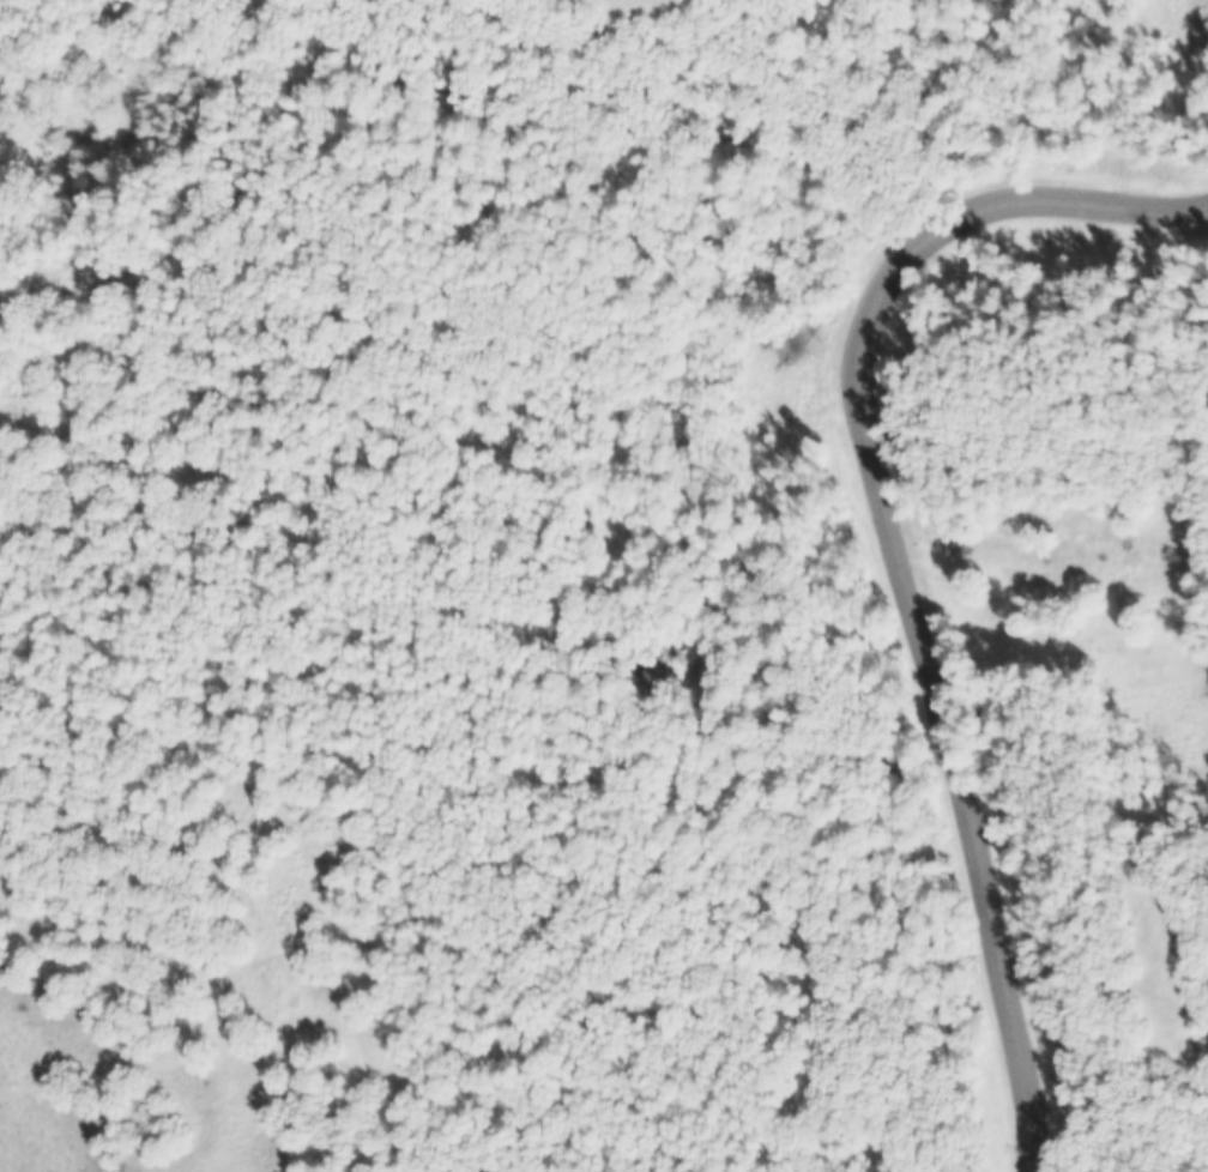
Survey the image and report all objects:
road: (894, 556)

